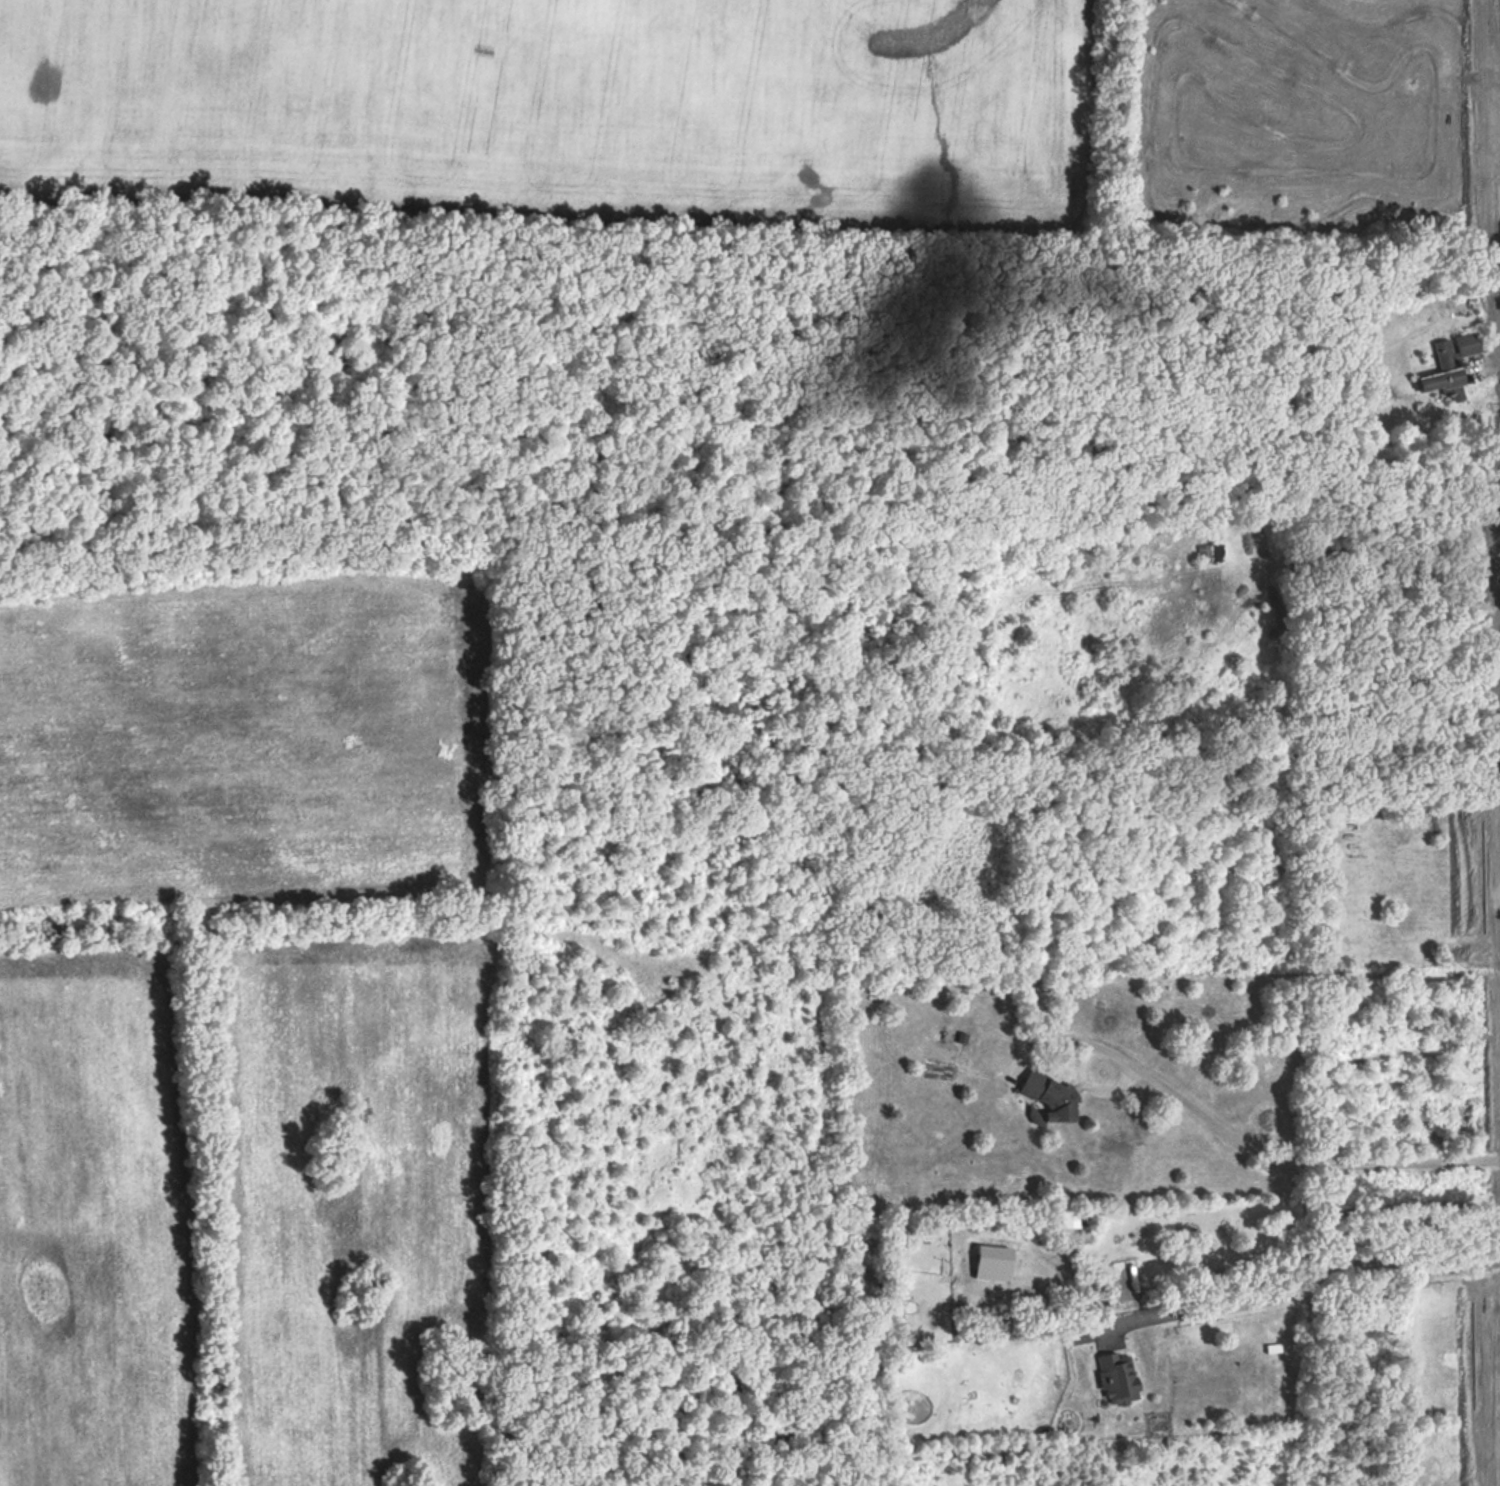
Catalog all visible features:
building: (1446, 360)
building: (1208, 552)
road: (1081, 1069)
building: (1045, 1098)
road: (1302, 1164)
building: (990, 1263)
road: (1309, 1275)
building: (1076, 1333)
building: (1116, 1376)

